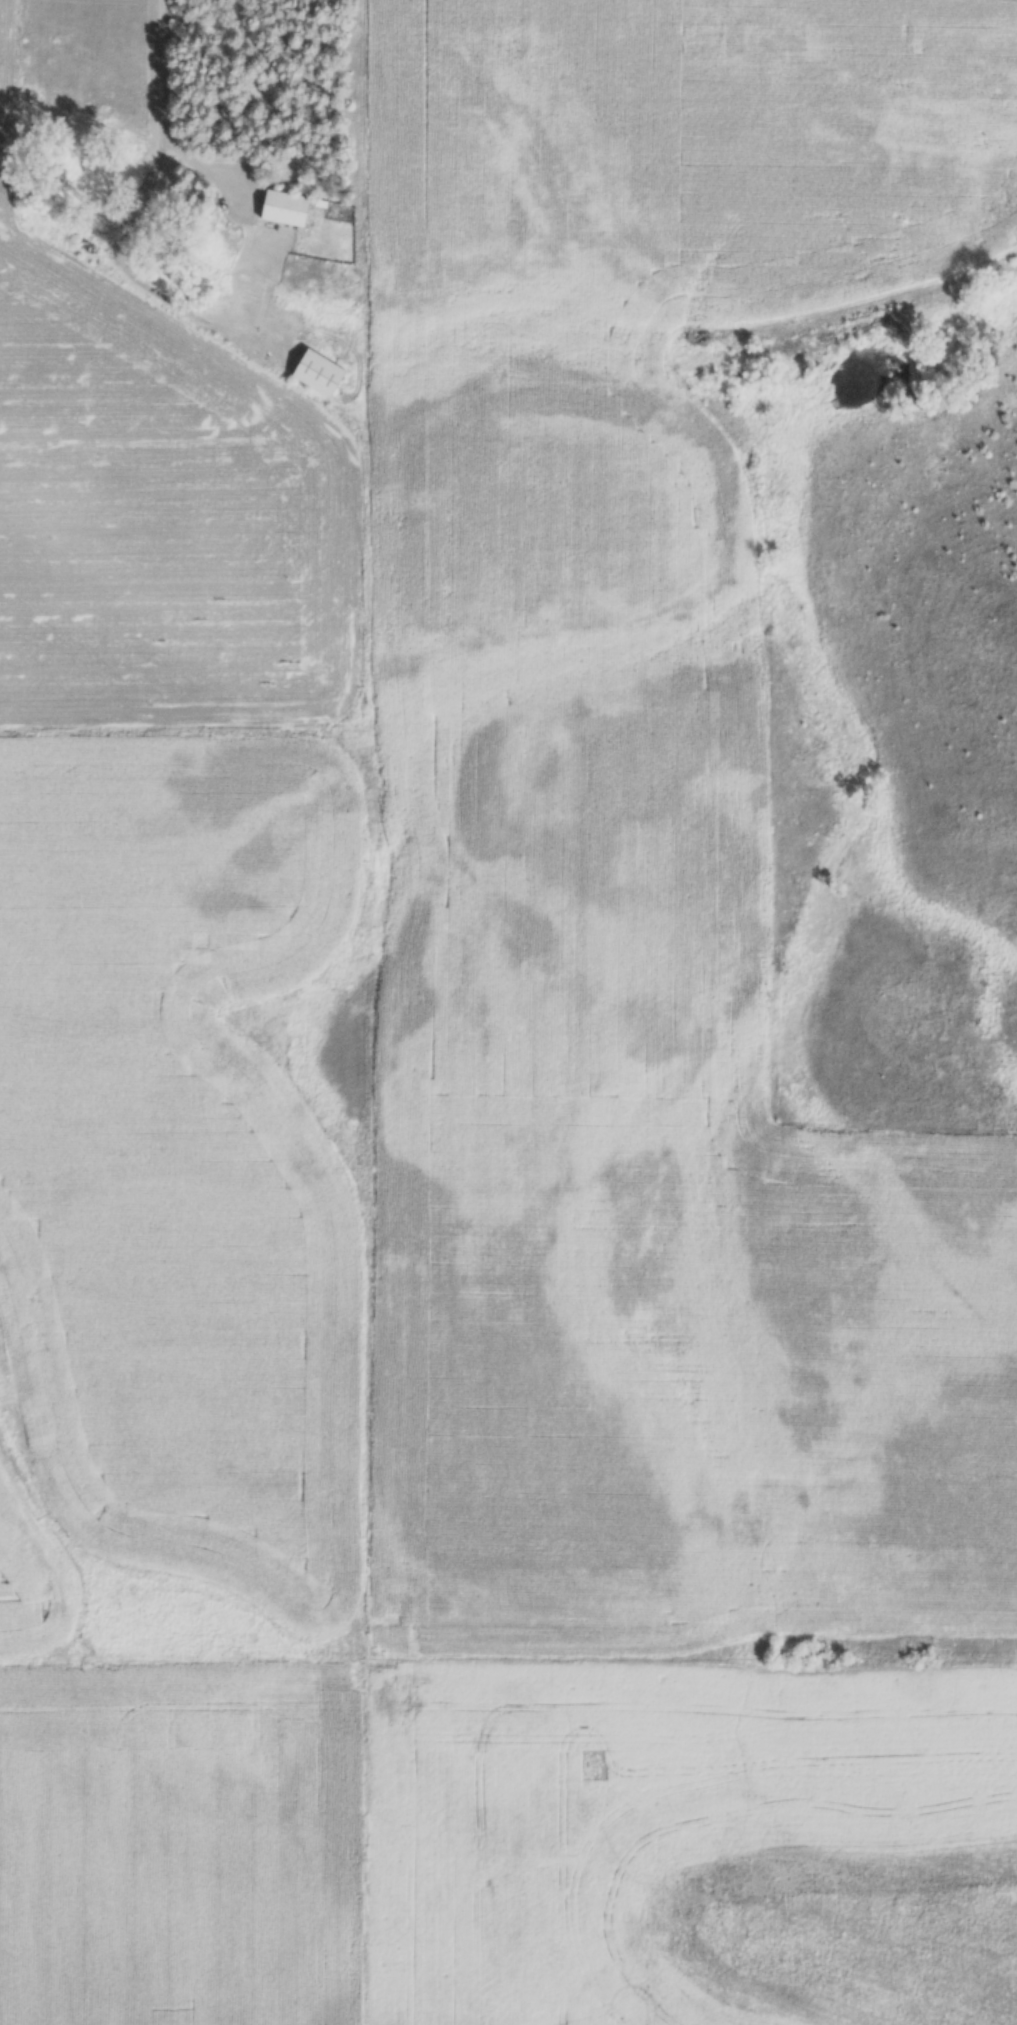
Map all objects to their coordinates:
road: (161, 120)
building: (285, 208)
building: (318, 373)

